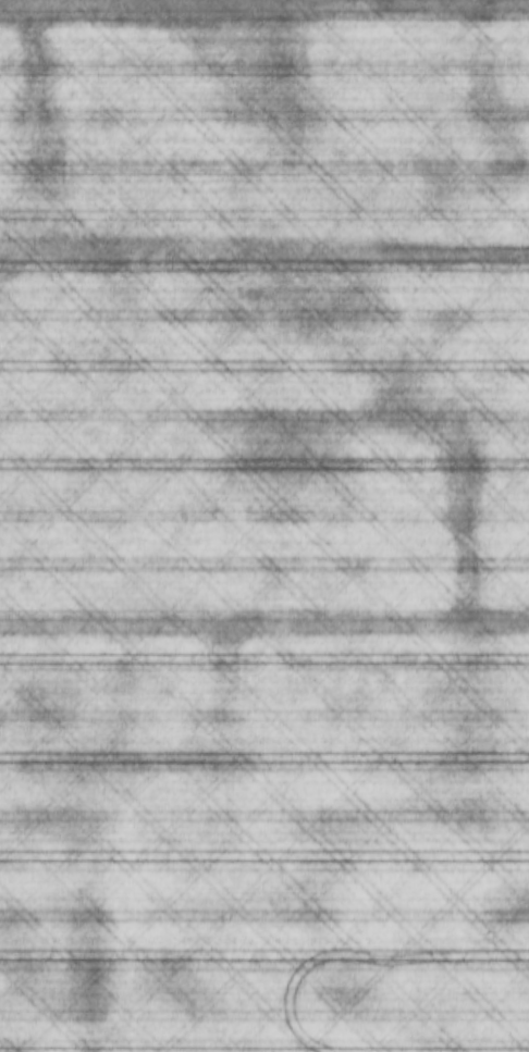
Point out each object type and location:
crop: (264, 525)

